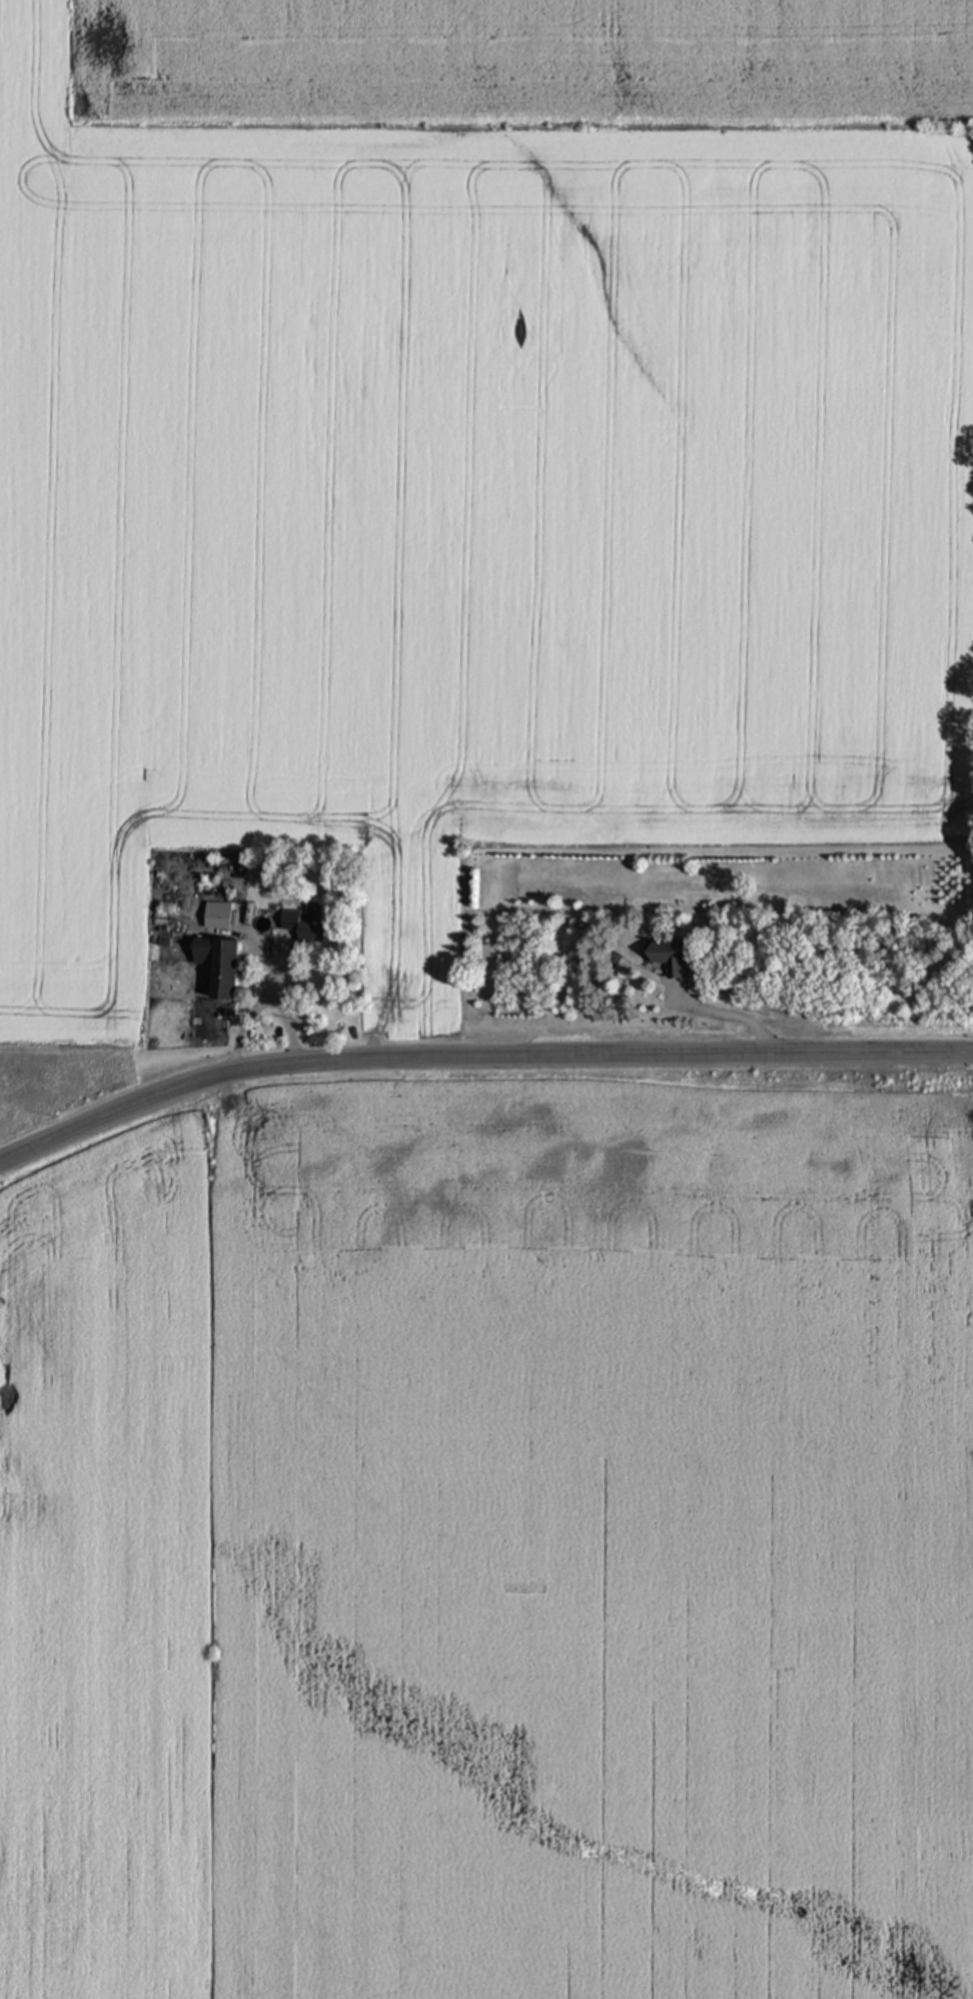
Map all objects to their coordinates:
building: (306, 924)
building: (669, 958)
building: (222, 969)
road: (253, 1011)
road: (724, 1014)
road: (290, 1027)
road: (477, 1062)

